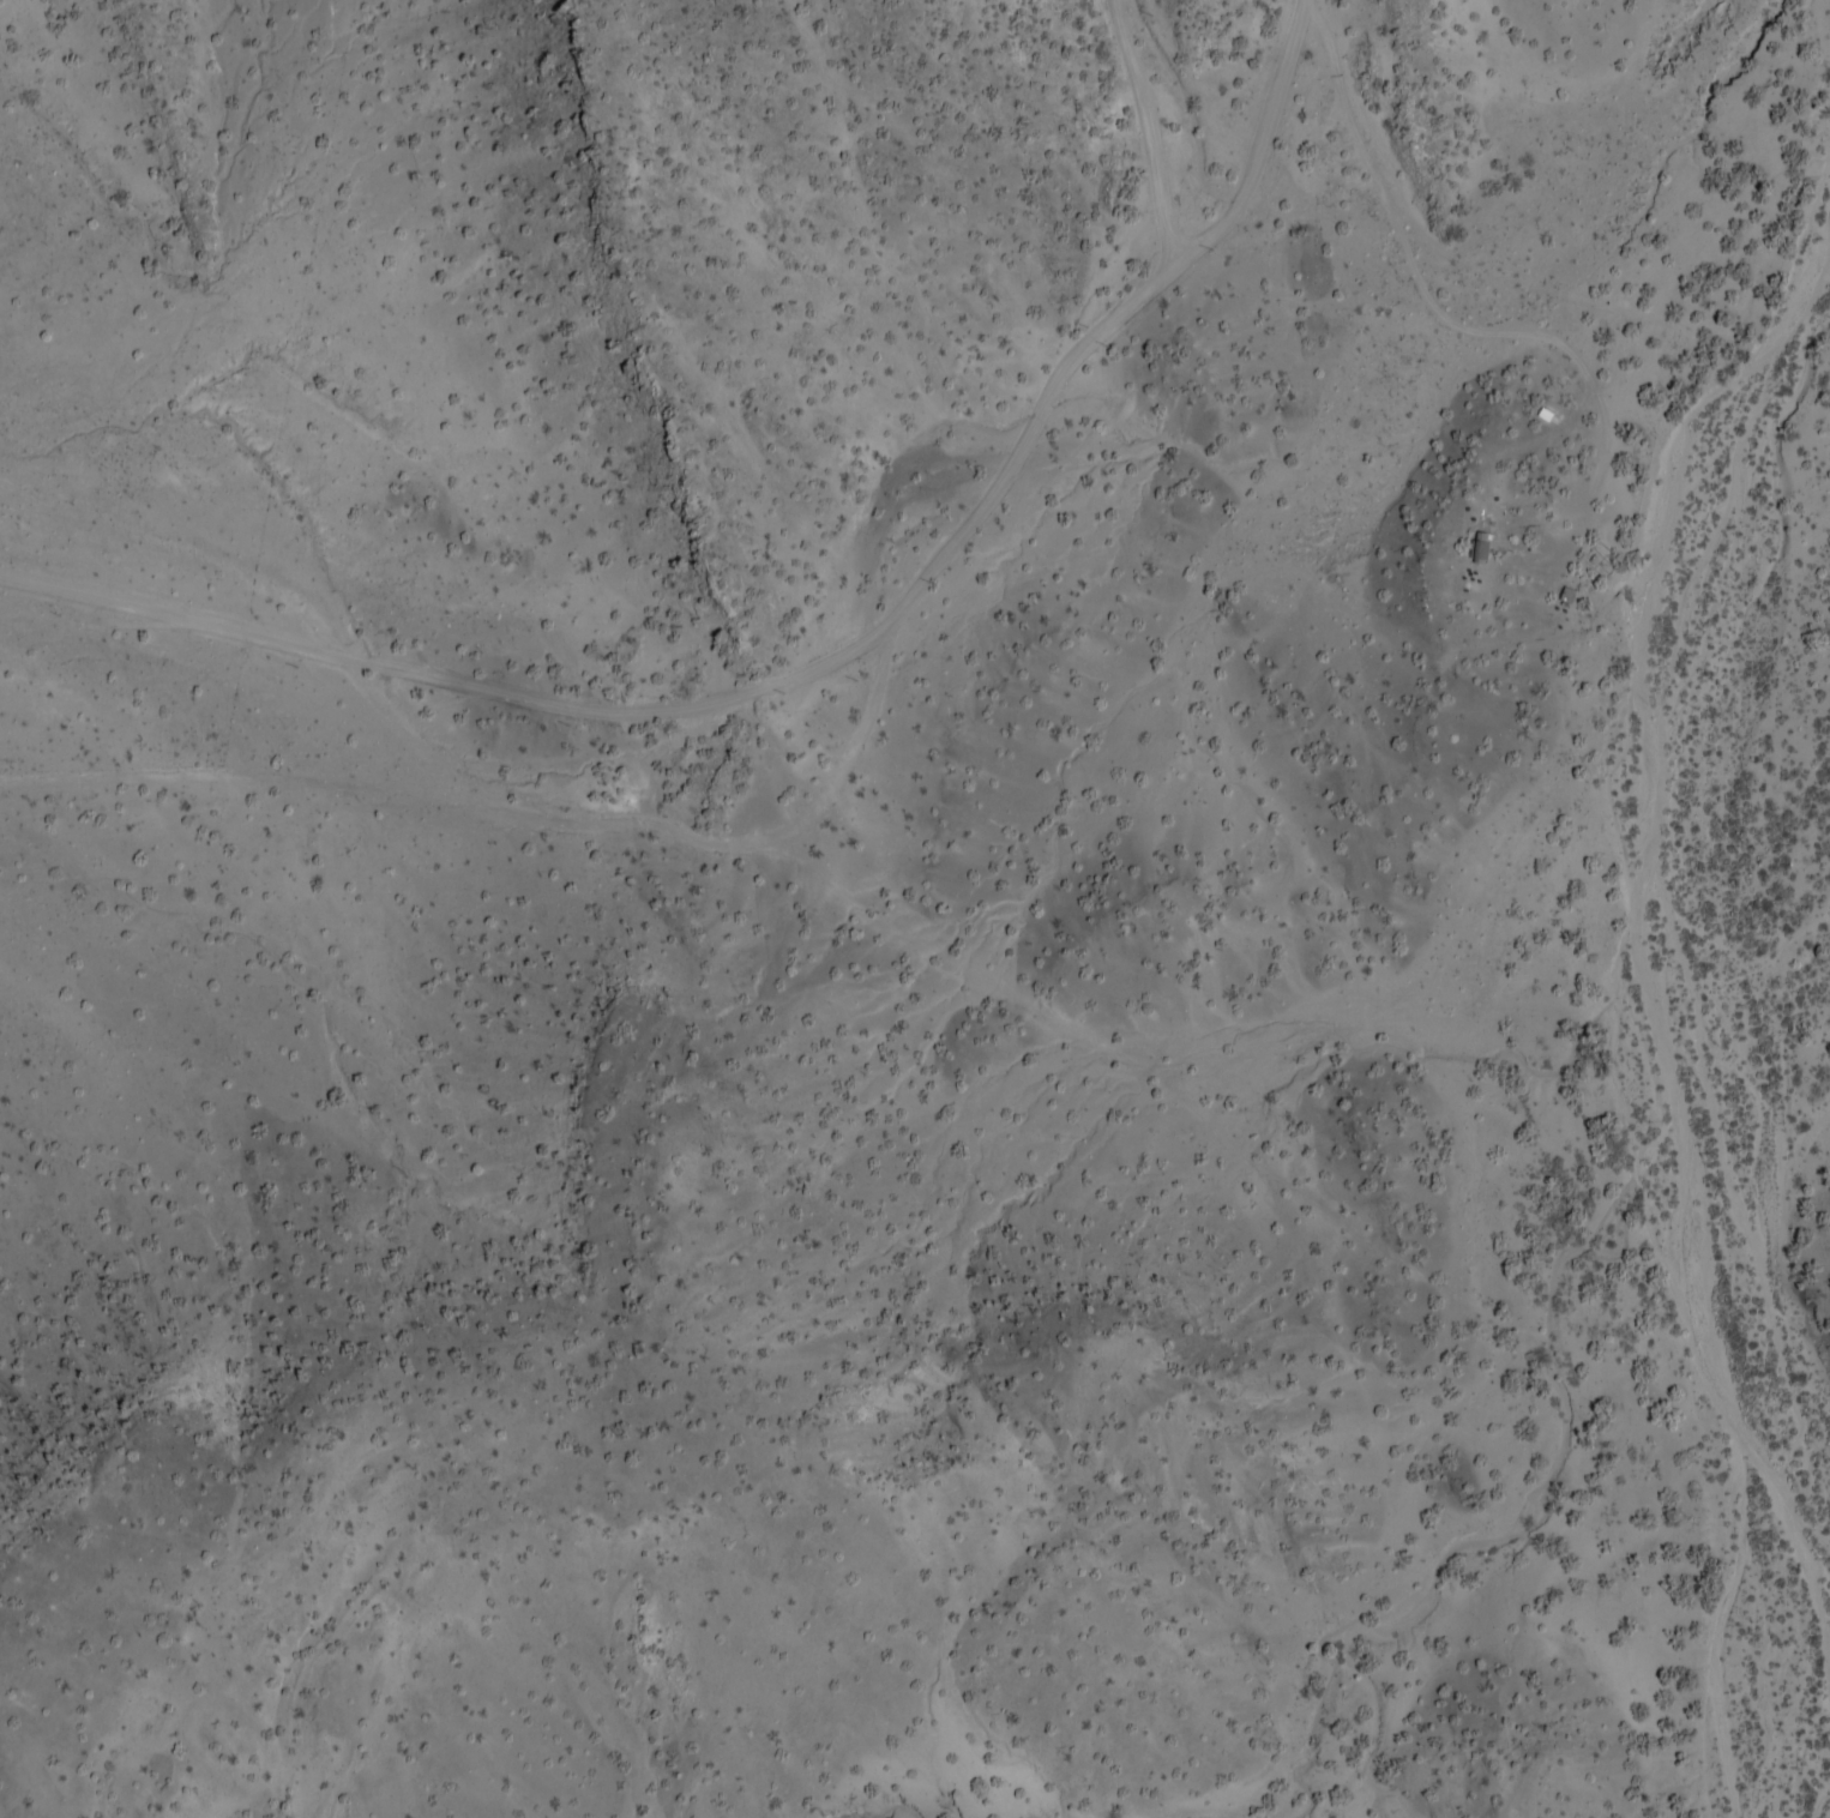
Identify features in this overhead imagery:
road: (1157, 125)
road: (1455, 315)
river: (1709, 513)
building: (1488, 537)
building: (1493, 554)
road: (819, 657)

